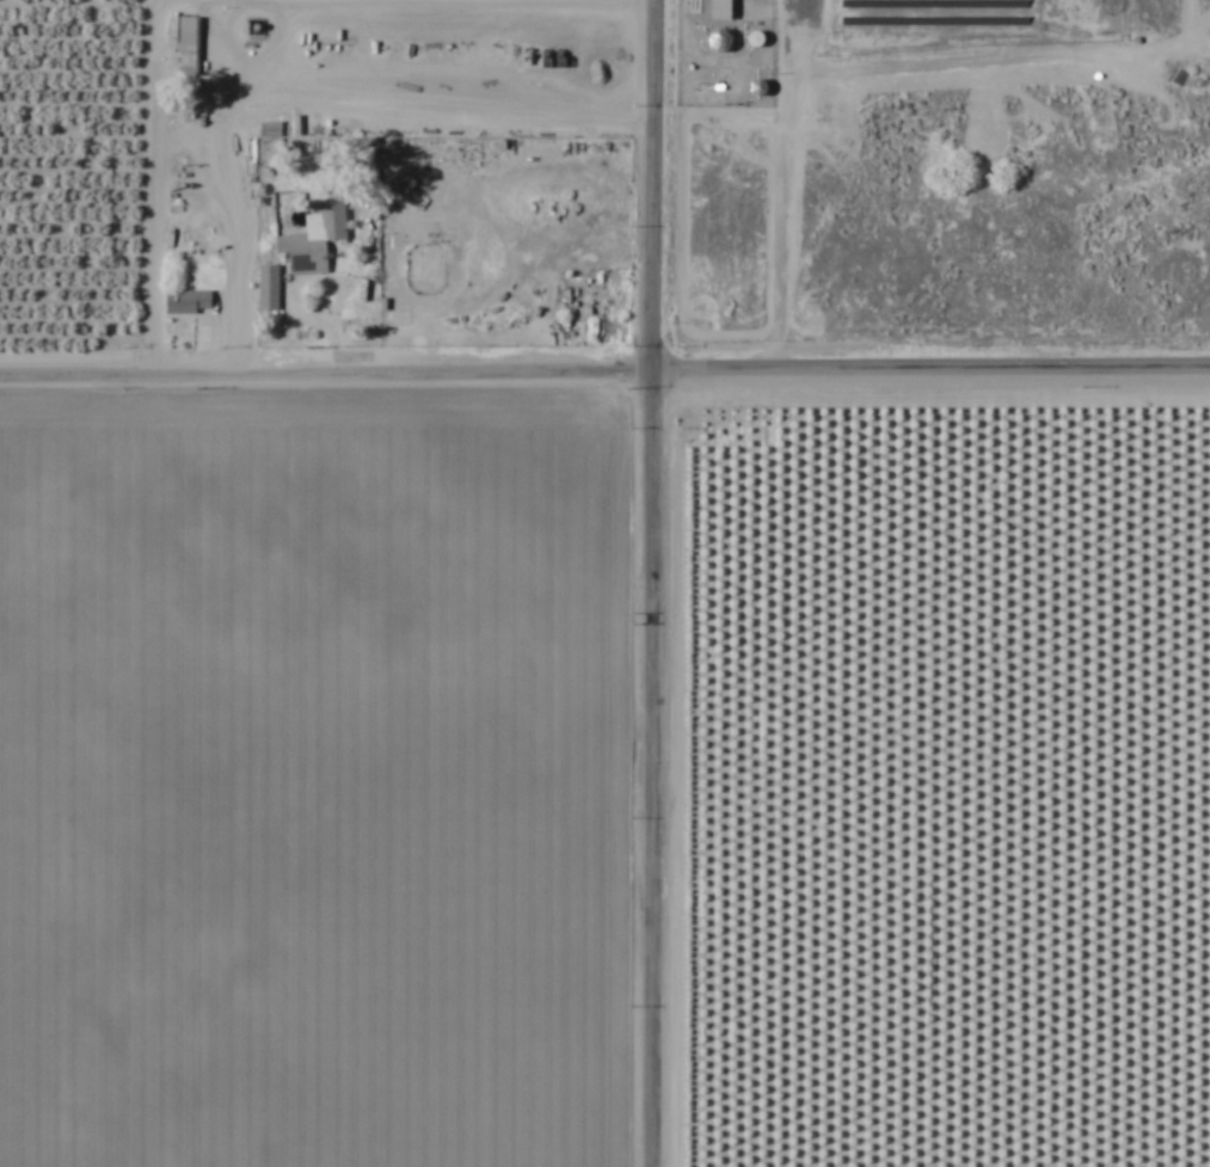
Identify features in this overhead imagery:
building: (720, 10)
building: (719, 41)
building: (185, 47)
building: (314, 240)
building: (266, 289)
building: (185, 303)
road: (334, 312)
road: (604, 368)
road: (653, 583)

